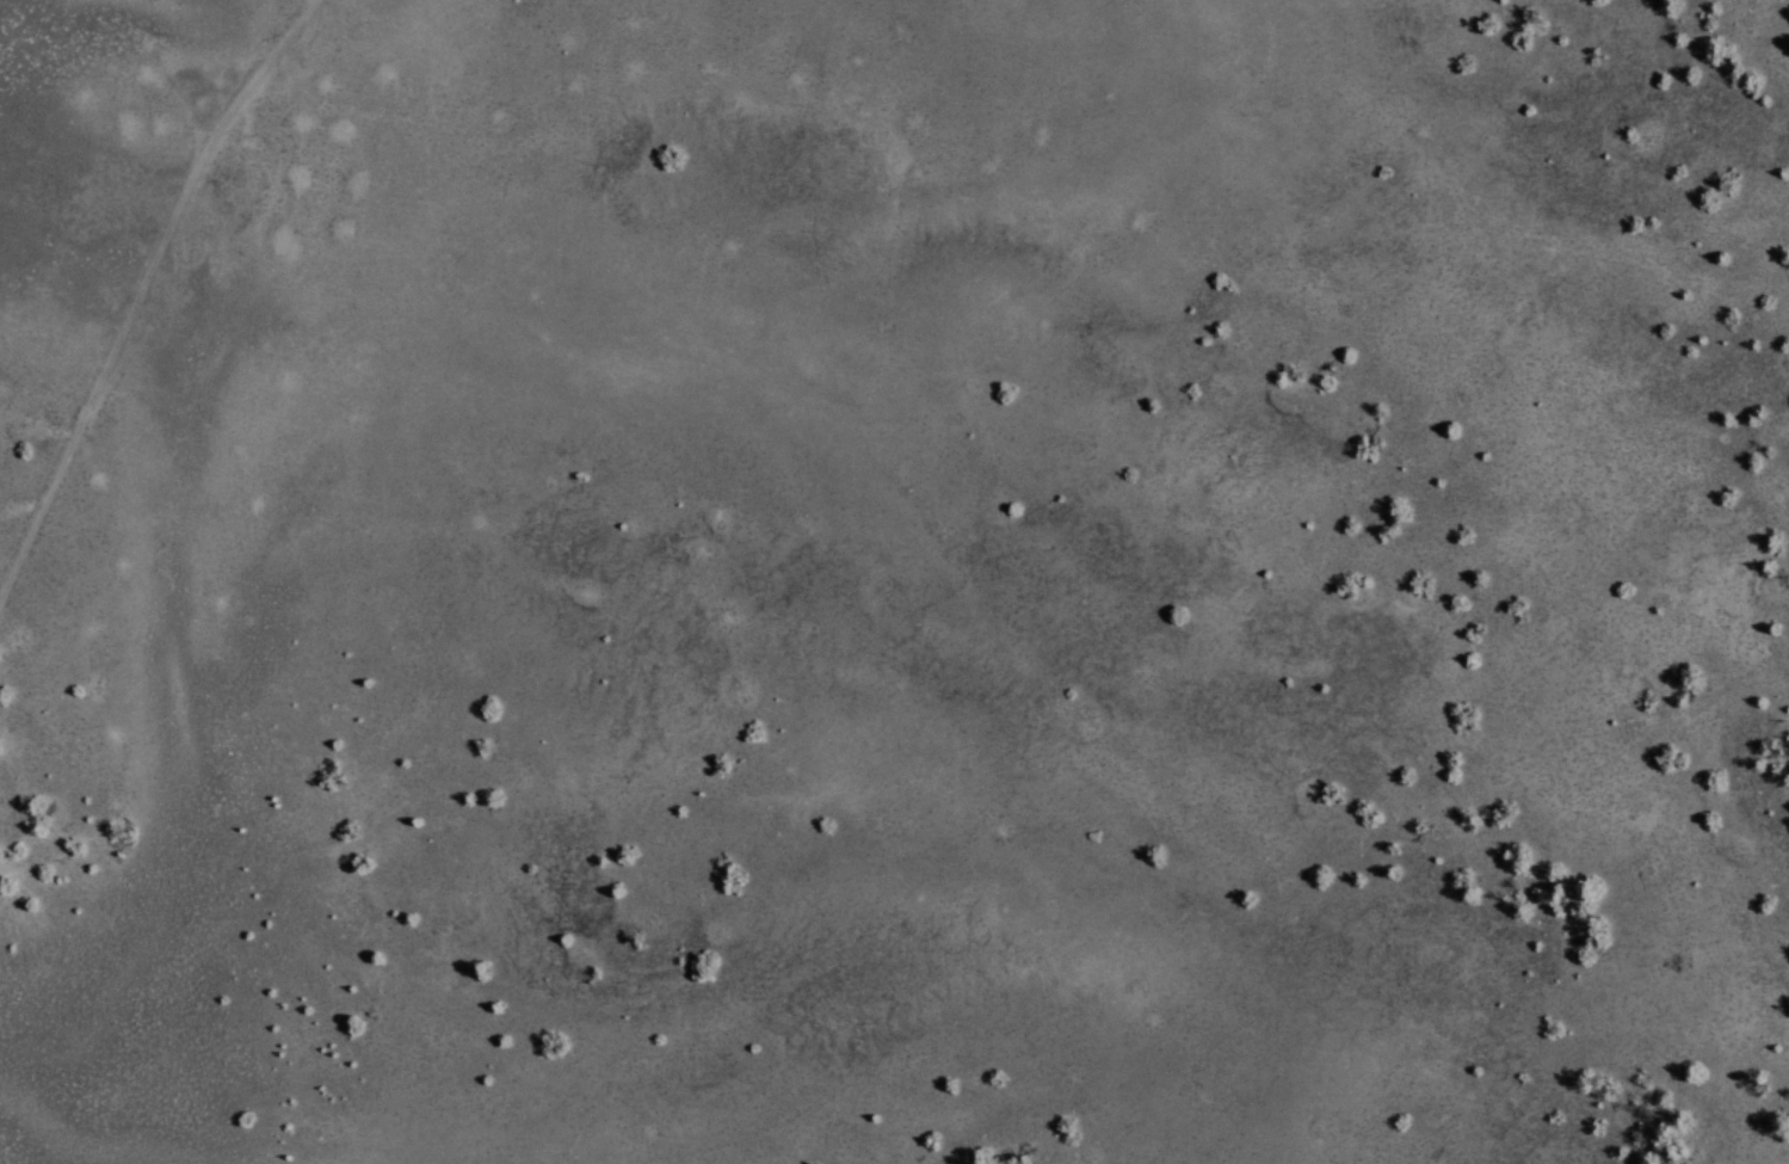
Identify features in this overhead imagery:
road: (142, 295)

